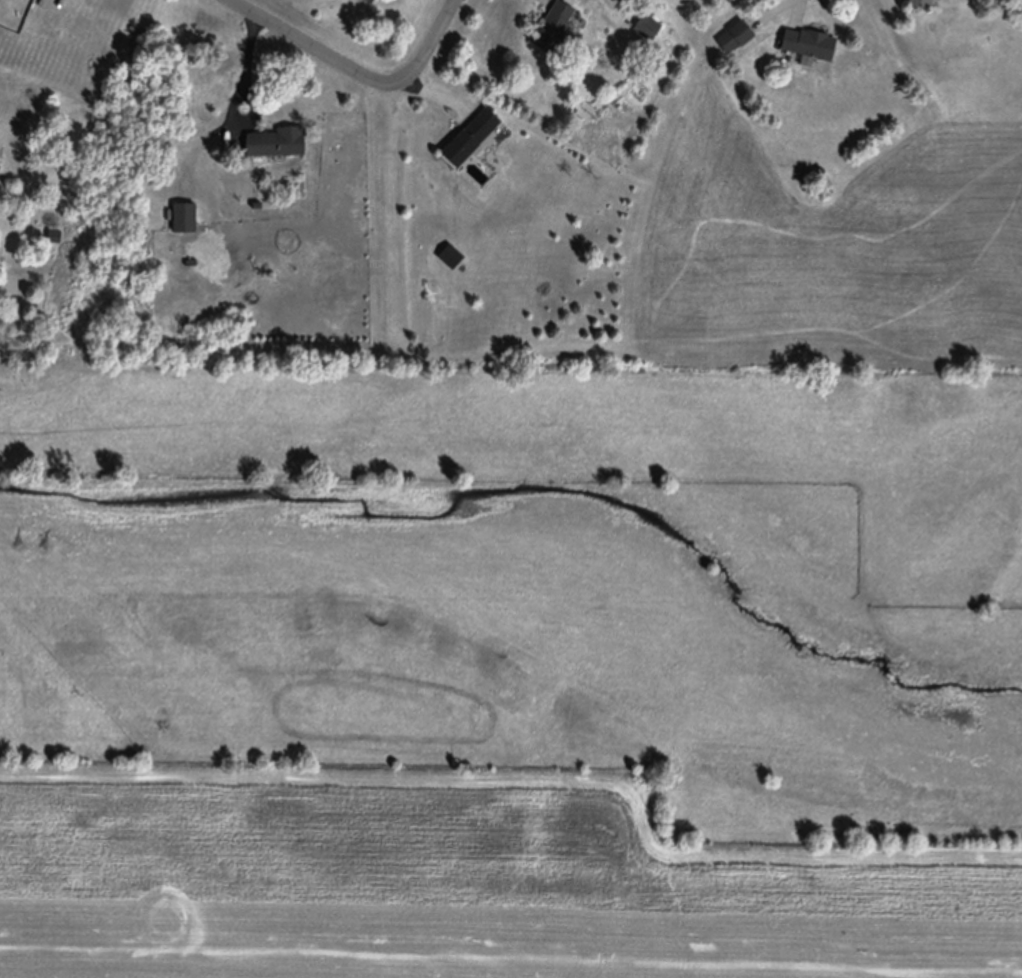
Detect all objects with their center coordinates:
building: (371, 0)
building: (922, 3)
building: (556, 29)
building: (735, 36)
building: (809, 42)
road: (429, 45)
road: (301, 50)
building: (471, 136)
building: (276, 142)
building: (184, 216)
building: (449, 255)
crop: (550, 620)

